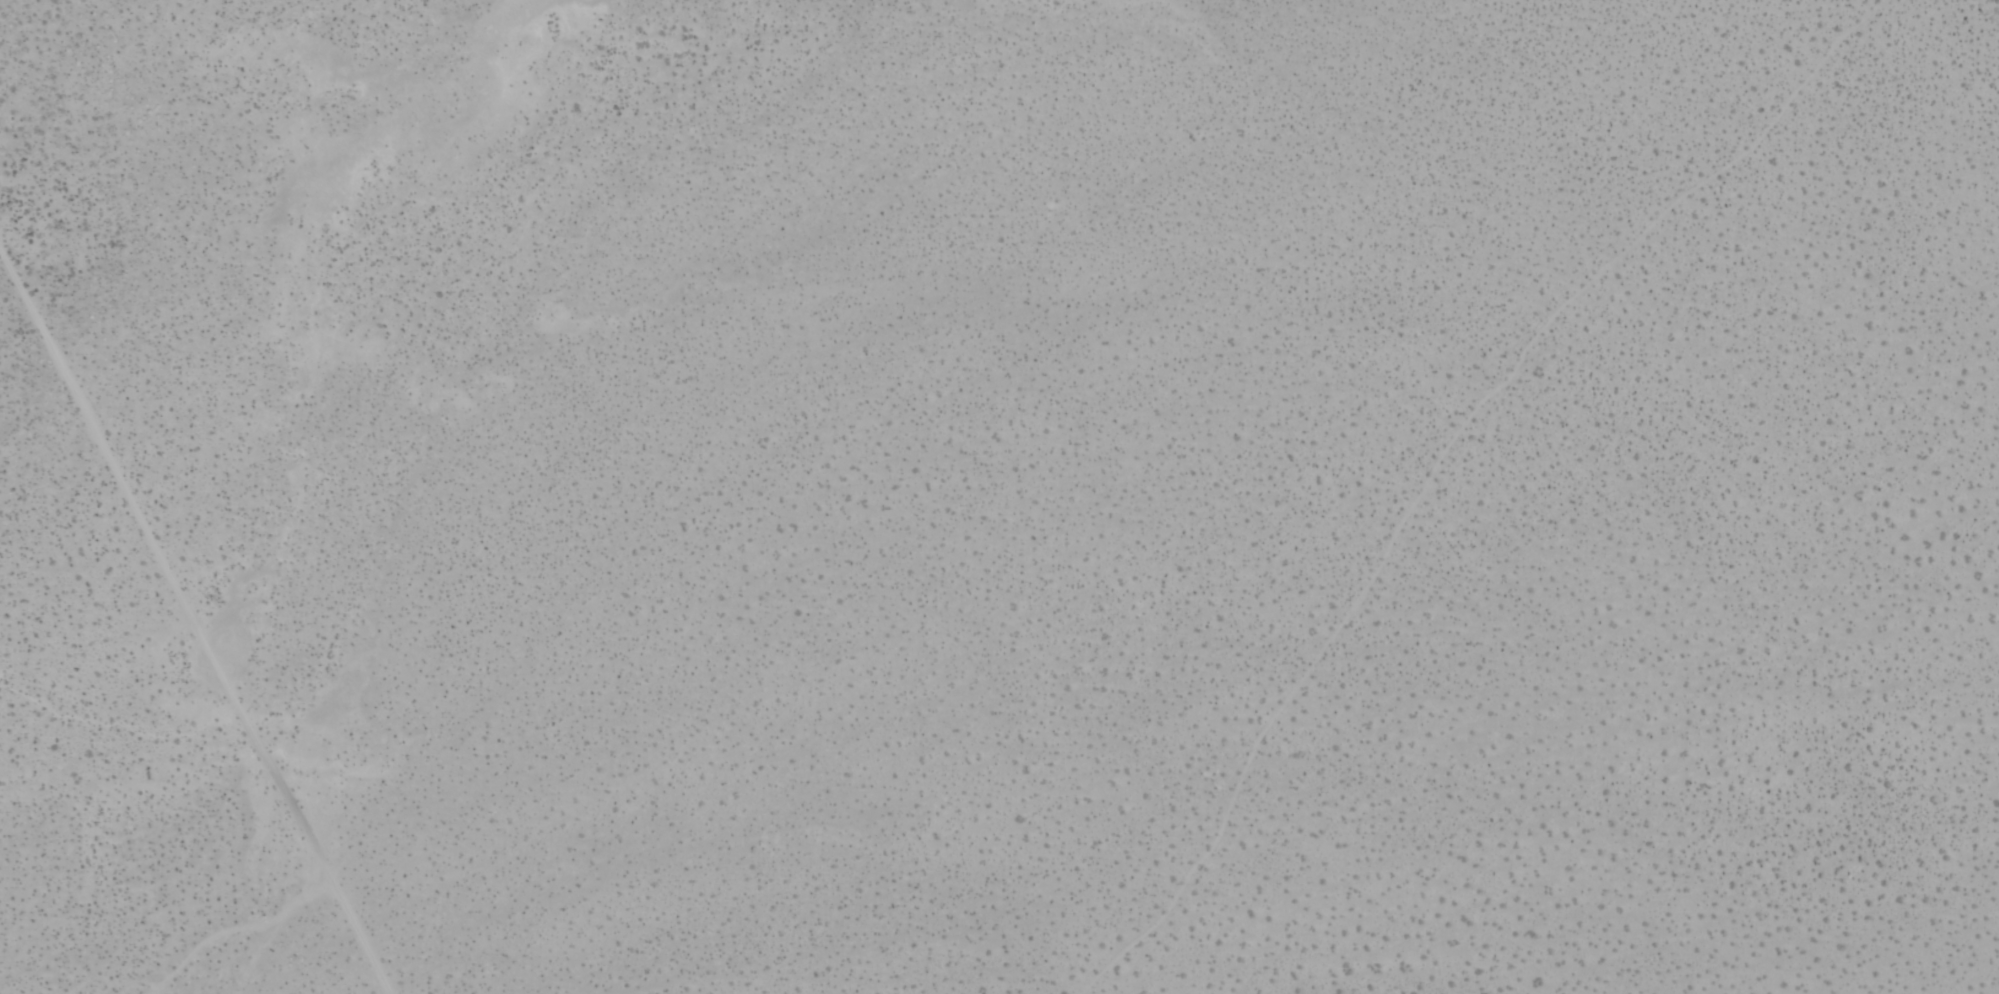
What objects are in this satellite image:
road: (195, 627)

